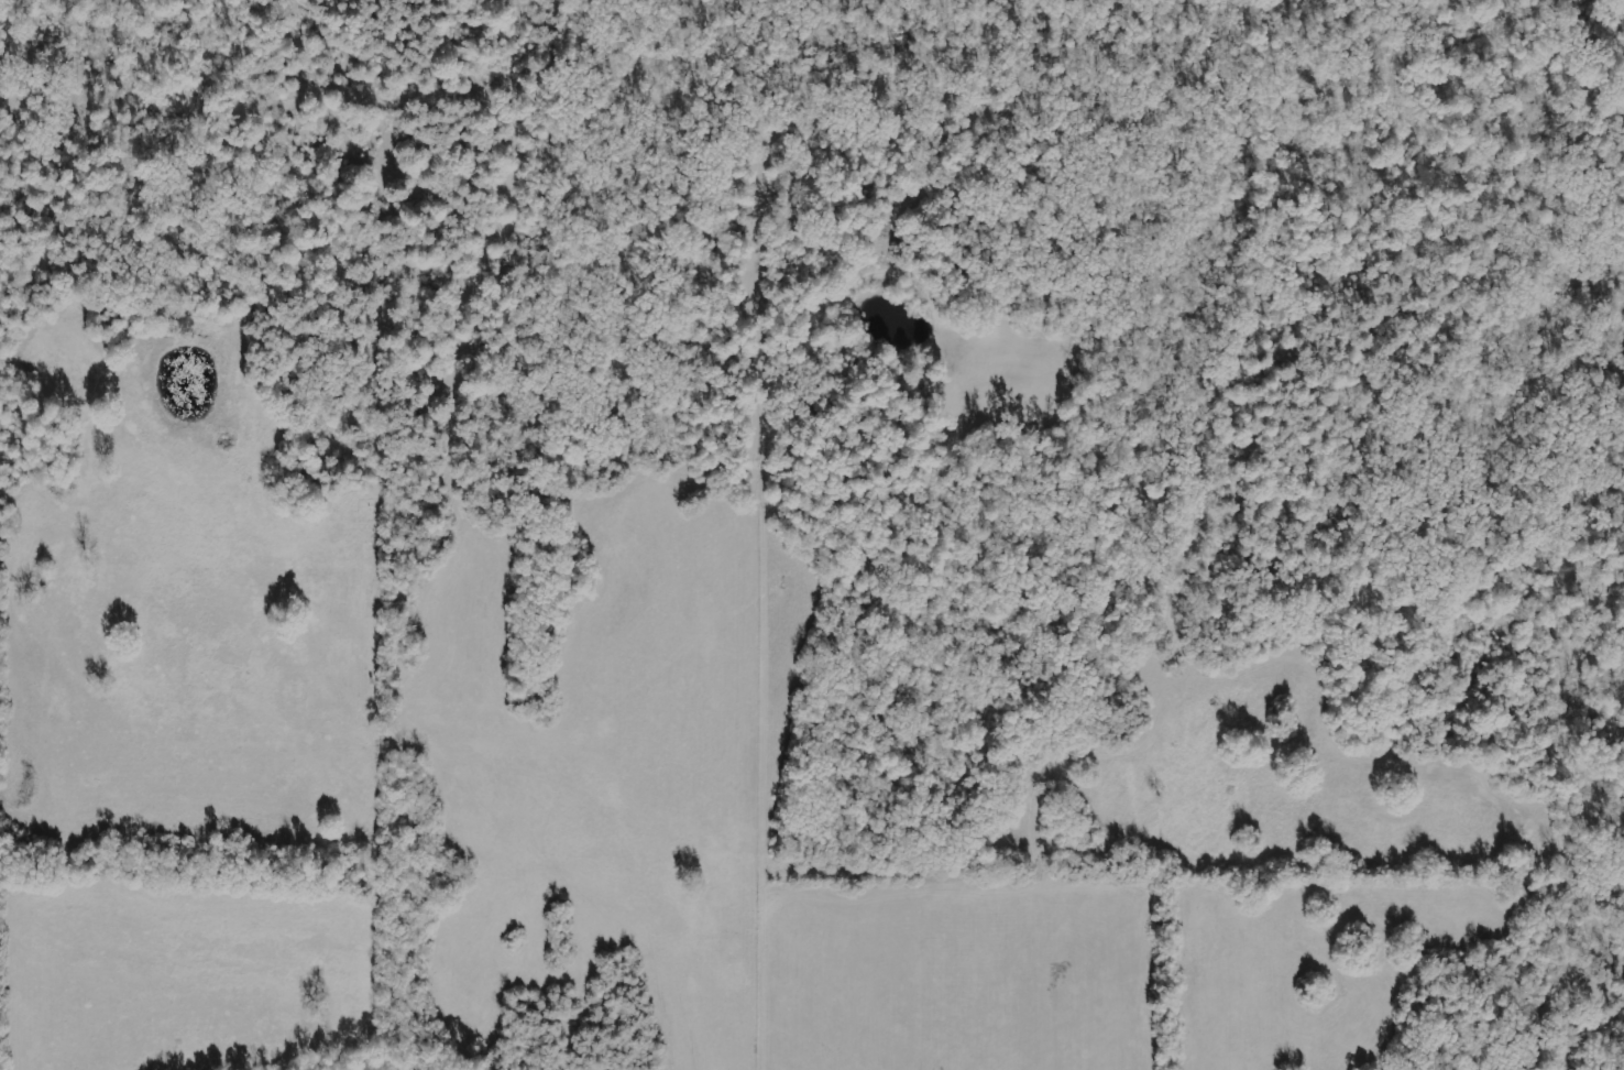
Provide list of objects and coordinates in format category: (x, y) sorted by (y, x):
park: (1601, 1055)

